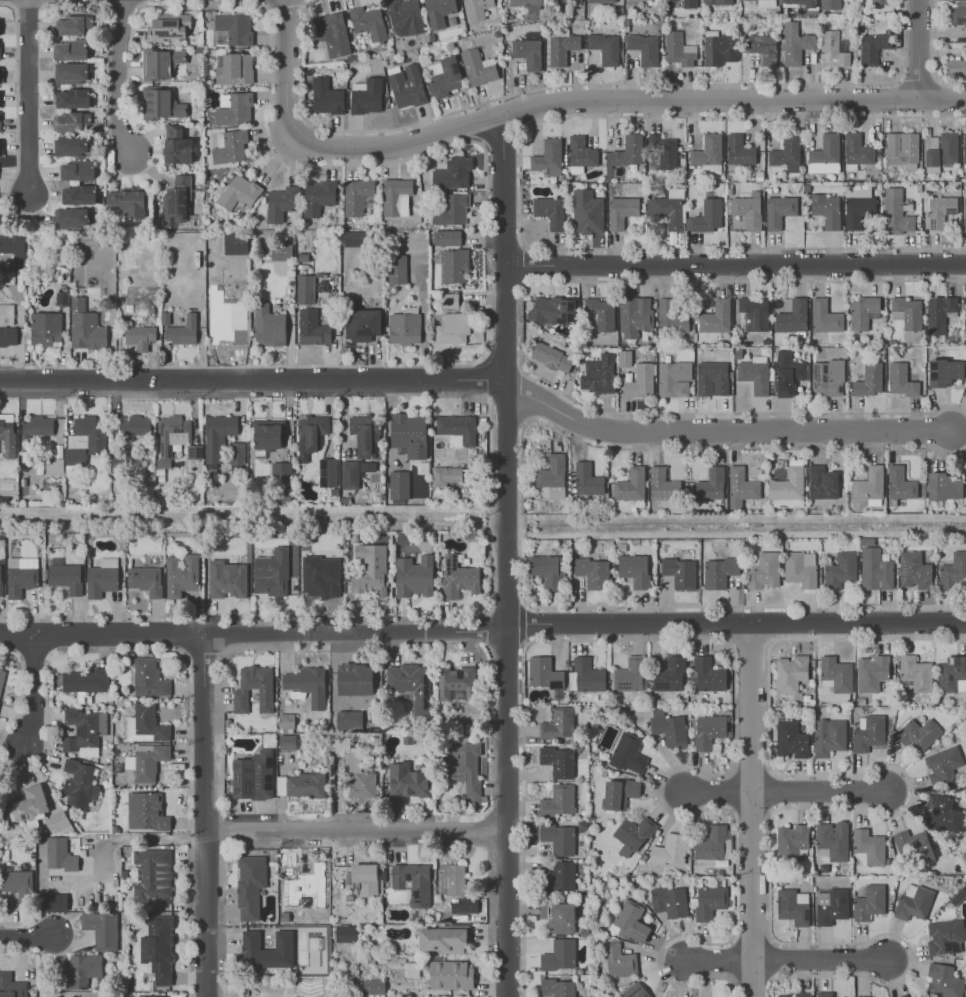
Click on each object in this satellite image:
building: (652, 0)
building: (960, 0)
building: (564, 1)
building: (601, 1)
building: (879, 1)
building: (718, 2)
building: (799, 2)
building: (767, 3)
building: (689, 4)
building: (830, 4)
building: (528, 6)
building: (476, 9)
building: (438, 12)
building: (957, 13)
building: (405, 17)
building: (368, 22)
building: (74, 25)
building: (168, 27)
building: (233, 29)
building: (332, 33)
building: (795, 43)
building: (872, 46)
building: (604, 47)
building: (644, 47)
building: (719, 47)
building: (834, 47)
building: (561, 48)
building: (763, 48)
building: (678, 49)
building: (0, 50)
building: (70, 50)
road: (922, 50)
building: (528, 52)
building: (161, 63)
building: (957, 65)
building: (478, 67)
building: (234, 68)
building: (71, 73)
building: (443, 76)
road: (119, 79)
building: (406, 85)
building: (326, 96)
building: (367, 97)
road: (27, 98)
building: (72, 98)
road: (557, 101)
building: (161, 104)
building: (234, 109)
building: (72, 121)
building: (0, 122)
building: (70, 145)
building: (178, 146)
building: (230, 146)
building: (902, 149)
building: (0, 150)
building: (628, 150)
building: (664, 150)
building: (738, 150)
building: (940, 150)
building: (856, 151)
building: (964, 151)
building: (580, 153)
building: (786, 153)
building: (708, 154)
building: (825, 154)
building: (548, 157)
building: (77, 170)
building: (452, 173)
road: (520, 184)
road: (504, 190)
building: (239, 192)
building: (78, 195)
building: (356, 196)
building: (318, 197)
building: (396, 197)
building: (176, 200)
building: (128, 202)
building: (282, 203)
building: (667, 208)
building: (451, 209)
building: (746, 209)
building: (826, 209)
building: (857, 209)
building: (621, 210)
building: (779, 210)
building: (940, 210)
building: (550, 211)
building: (586, 211)
building: (895, 211)
building: (964, 212)
building: (706, 216)
building: (71, 217)
building: (1, 223)
building: (447, 237)
building: (355, 238)
building: (227, 243)
building: (12, 247)
building: (281, 252)
road: (524, 263)
building: (453, 265)
road: (736, 265)
building: (397, 269)
building: (15, 275)
building: (305, 289)
building: (448, 300)
building: (553, 310)
building: (861, 311)
building: (601, 312)
building: (907, 312)
building: (939, 312)
building: (754, 313)
building: (634, 315)
building: (670, 316)
building: (716, 316)
building: (792, 316)
building: (824, 316)
building: (362, 324)
road: (504, 324)
building: (268, 326)
building: (405, 326)
building: (85, 327)
building: (224, 327)
building: (46, 328)
building: (312, 328)
building: (452, 328)
building: (183, 331)
road: (521, 335)
building: (8, 336)
building: (140, 337)
building: (552, 357)
building: (624, 358)
road: (235, 365)
building: (944, 371)
building: (787, 372)
building: (754, 373)
building: (598, 374)
building: (827, 377)
building: (712, 378)
building: (674, 379)
building: (869, 379)
building: (639, 380)
building: (901, 380)
road: (251, 383)
building: (965, 393)
road: (524, 396)
building: (38, 426)
building: (135, 426)
building: (457, 429)
building: (310, 432)
road: (721, 433)
building: (7, 434)
building: (172, 434)
building: (409, 434)
building: (365, 435)
building: (267, 436)
building: (218, 437)
building: (85, 439)
building: (238, 456)
building: (53, 468)
building: (965, 469)
building: (281, 471)
building: (327, 472)
building: (353, 472)
building: (445, 476)
building: (552, 476)
building: (586, 479)
building: (822, 482)
building: (900, 483)
building: (630, 484)
building: (662, 484)
building: (710, 484)
building: (399, 485)
building: (741, 486)
building: (868, 486)
building: (943, 486)
building: (787, 487)
road: (505, 505)
road: (522, 509)
building: (800, 568)
building: (547, 569)
building: (634, 569)
building: (840, 569)
building: (875, 569)
building: (913, 570)
building: (953, 570)
building: (370, 571)
building: (763, 571)
building: (592, 572)
building: (680, 572)
building: (718, 572)
building: (271, 573)
building: (21, 575)
building: (181, 575)
building: (414, 576)
building: (66, 577)
building: (102, 578)
building: (458, 578)
building: (227, 579)
building: (0, 580)
building: (146, 580)
building: (323, 587)
road: (736, 623)
road: (523, 624)
road: (355, 632)
road: (102, 636)
road: (867, 638)
road: (690, 639)
road: (750, 641)
road: (204, 664)
building: (543, 672)
building: (668, 672)
building: (871, 672)
building: (790, 673)
building: (835, 673)
building: (708, 674)
building: (914, 674)
building: (952, 674)
building: (585, 675)
building: (629, 675)
building: (149, 678)
building: (354, 679)
building: (85, 680)
building: (0, 682)
building: (410, 683)
building: (456, 683)
building: (307, 684)
building: (265, 689)
road: (34, 691)
building: (349, 719)
building: (285, 720)
building: (558, 723)
building: (146, 724)
building: (668, 727)
building: (707, 730)
building: (83, 731)
building: (868, 732)
building: (917, 733)
building: (828, 736)
building: (790, 739)
building: (286, 742)
building: (628, 753)
building: (146, 760)
building: (558, 761)
road: (206, 764)
building: (943, 764)
building: (465, 768)
building: (355, 769)
building: (252, 776)
building: (406, 781)
building: (80, 782)
building: (307, 785)
road: (730, 789)
road: (789, 791)
building: (619, 793)
building: (558, 800)
building: (30, 802)
road: (750, 810)
building: (146, 811)
road: (505, 811)
building: (942, 813)
road: (523, 819)
building: (56, 821)
building: (632, 834)
road: (356, 835)
building: (558, 838)
road: (140, 839)
building: (833, 839)
building: (791, 840)
building: (710, 843)
building: (913, 845)
building: (868, 846)
building: (669, 849)
building: (60, 854)
building: (152, 875)
building: (562, 875)
building: (365, 878)
building: (451, 879)
building: (312, 880)
building: (413, 882)
road: (733, 882)
building: (18, 884)
building: (250, 885)
building: (669, 901)
building: (709, 901)
building: (54, 902)
building: (869, 902)
building: (913, 902)
building: (830, 905)
building: (464, 906)
building: (793, 906)
road: (208, 916)
building: (558, 917)
building: (630, 921)
building: (101, 929)
building: (345, 933)
building: (945, 936)
road: (27, 937)
building: (442, 939)
building: (158, 948)
building: (267, 950)
building: (559, 956)
building: (619, 960)
road: (729, 960)
road: (788, 960)
building: (83, 968)
building: (450, 974)
building: (943, 980)
building: (11, 986)
building: (372, 986)
building: (557, 988)
building: (634, 991)
building: (796, 994)
building: (823, 994)
building: (903, 995)
building: (165, 996)
building: (860, 996)
building: (920, 996)

